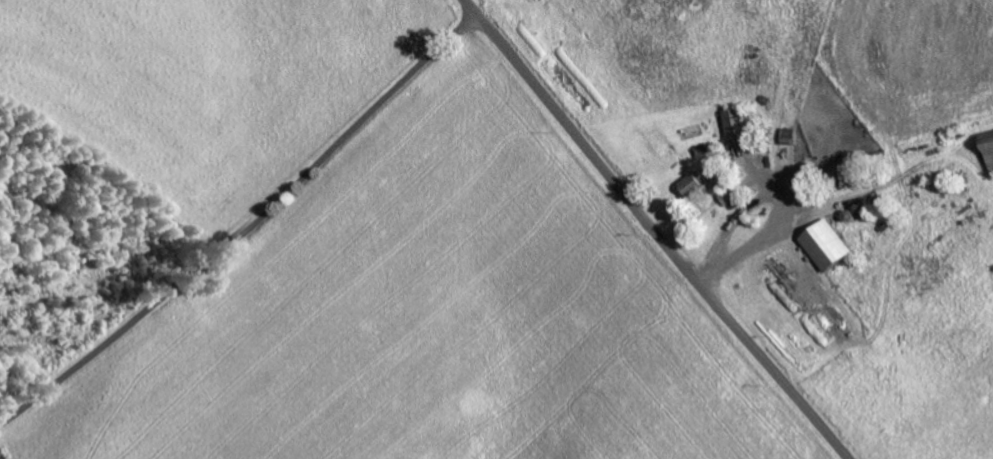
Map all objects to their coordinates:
building: (738, 121)
building: (991, 145)
building: (695, 184)
building: (732, 196)
road: (656, 230)
road: (246, 231)
building: (832, 245)

